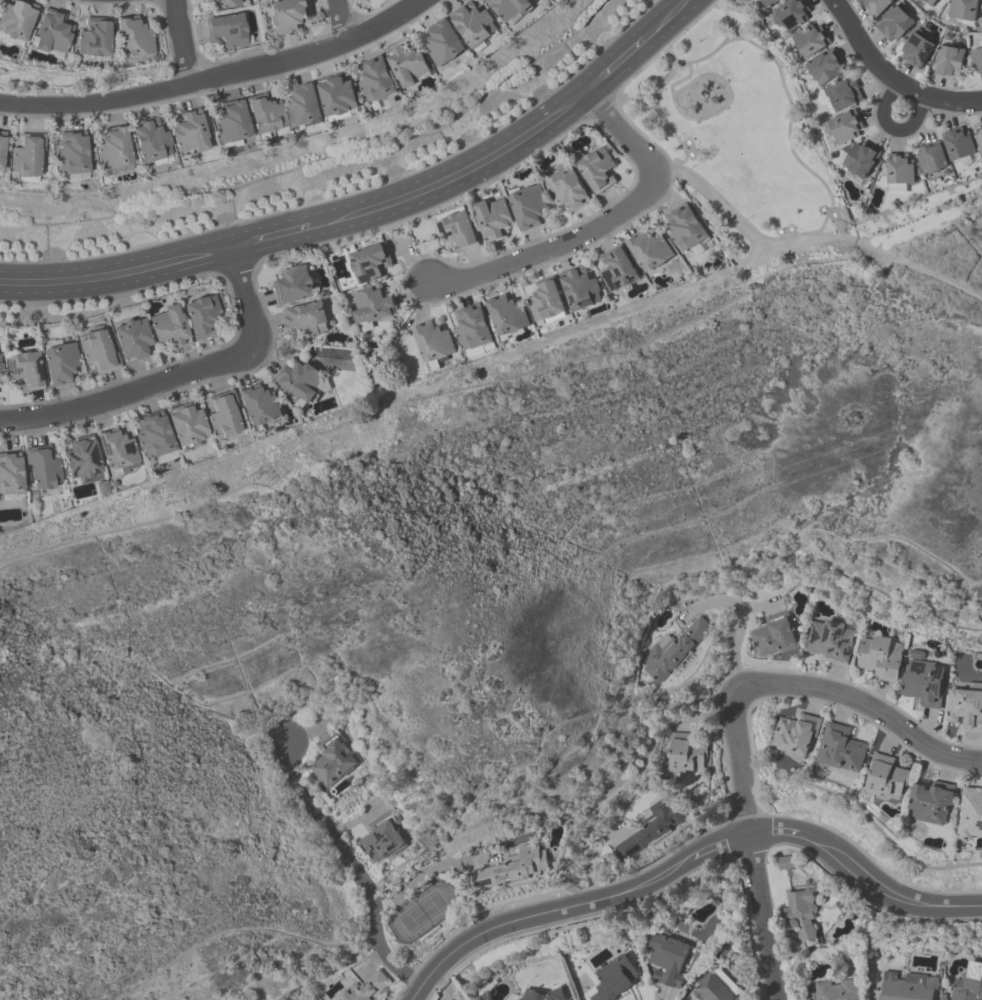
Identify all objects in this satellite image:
building: (770, 3)
building: (930, 3)
building: (224, 4)
building: (876, 6)
building: (511, 9)
building: (963, 11)
building: (793, 14)
building: (288, 16)
road: (341, 20)
road: (665, 20)
building: (17, 21)
building: (896, 24)
building: (474, 25)
building: (229, 30)
building: (53, 35)
building: (136, 40)
building: (95, 41)
road: (181, 41)
building: (811, 41)
building: (445, 43)
building: (917, 53)
road: (658, 54)
building: (977, 59)
building: (949, 64)
road: (614, 65)
building: (410, 66)
building: (826, 68)
road: (216, 75)
road: (890, 77)
building: (377, 81)
building: (841, 96)
road: (638, 100)
building: (323, 102)
building: (267, 117)
park: (733, 122)
building: (233, 124)
road: (891, 126)
building: (847, 127)
road: (789, 128)
building: (191, 134)
road: (623, 135)
building: (979, 139)
building: (153, 142)
building: (959, 145)
building: (115, 152)
building: (3, 153)
building: (73, 155)
building: (932, 159)
building: (28, 160)
building: (860, 162)
building: (597, 170)
building: (899, 172)
road: (454, 175)
building: (567, 189)
building: (529, 207)
building: (494, 218)
building: (686, 229)
building: (458, 231)
road: (271, 235)
road: (548, 248)
building: (651, 252)
building: (370, 263)
building: (618, 269)
road: (118, 273)
building: (295, 285)
building: (580, 289)
road: (246, 292)
building: (547, 302)
building: (371, 307)
building: (508, 315)
building: (202, 316)
building: (307, 320)
building: (169, 326)
building: (473, 329)
building: (133, 339)
building: (434, 342)
building: (100, 350)
building: (61, 362)
building: (27, 369)
building: (0, 374)
building: (301, 380)
road: (130, 392)
building: (260, 406)
building: (207, 422)
building: (155, 437)
building: (100, 456)
building: (44, 471)
building: (11, 476)
road: (737, 629)
building: (775, 636)
building: (831, 641)
building: (673, 651)
building: (881, 657)
building: (924, 680)
road: (859, 703)
building: (965, 709)
building: (797, 735)
building: (842, 749)
building: (685, 755)
building: (334, 760)
road: (744, 770)
building: (888, 778)
building: (934, 803)
building: (971, 814)
building: (652, 828)
building: (381, 841)
road: (593, 856)
building: (786, 864)
road: (349, 867)
building: (517, 868)
road: (420, 874)
road: (865, 875)
road: (580, 903)
building: (801, 915)
road: (763, 917)
building: (668, 959)
building: (615, 979)
building: (968, 983)
building: (906, 986)
building: (369, 989)
building: (713, 989)
building: (835, 990)
road: (416, 992)
building: (540, 994)

